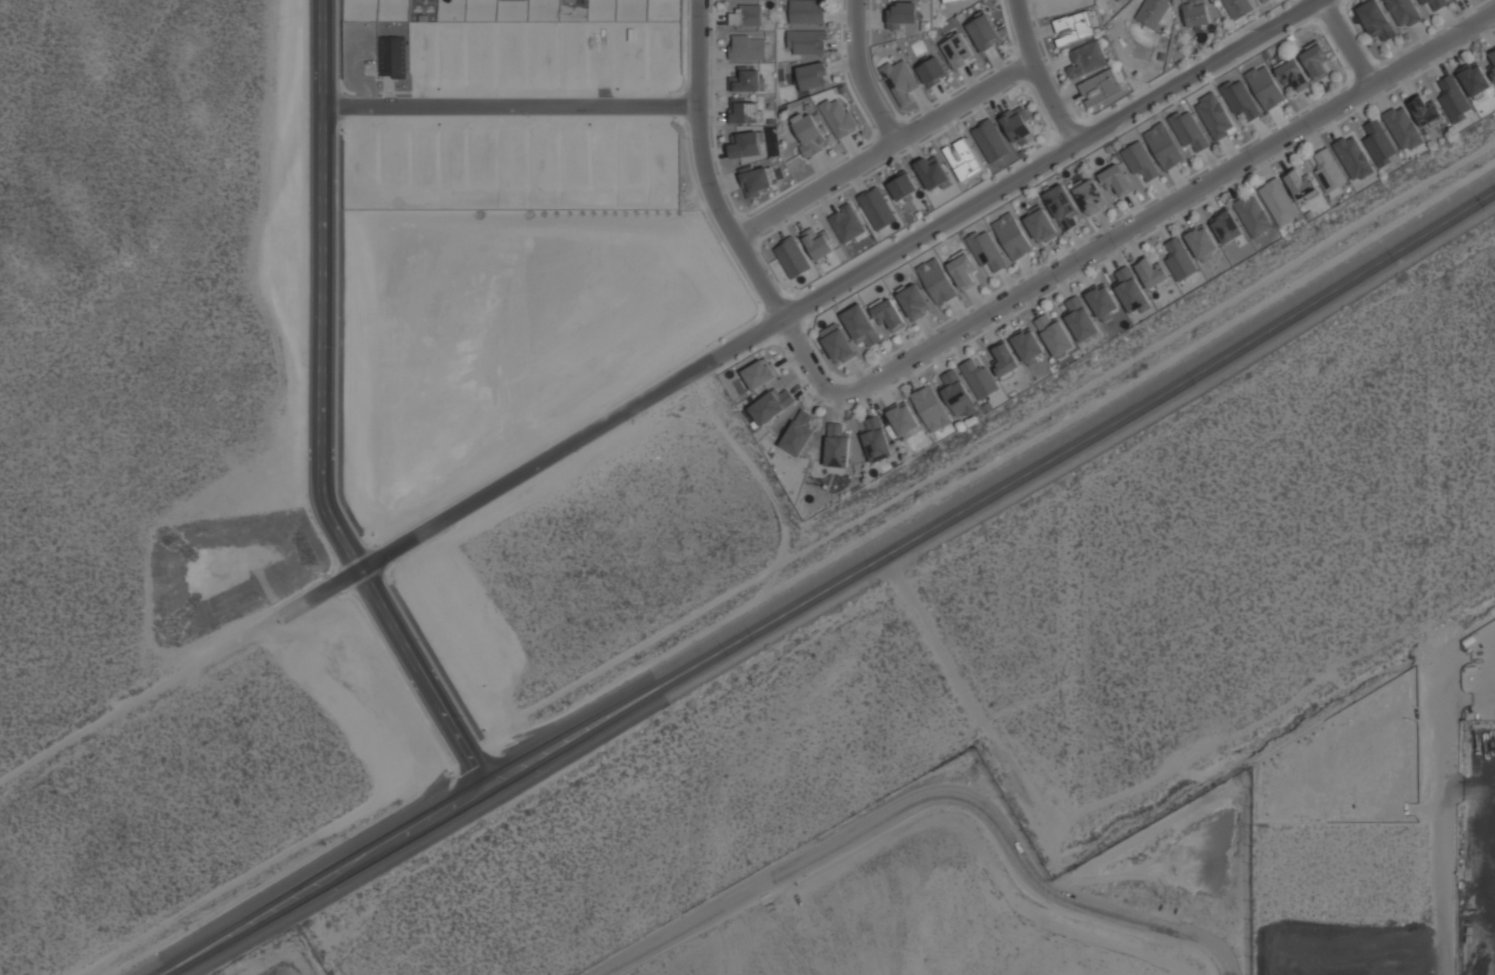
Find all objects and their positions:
building: (1452, 0)
building: (1455, 0)
building: (947, 1)
building: (1265, 1)
building: (1434, 4)
building: (1238, 8)
building: (807, 12)
building: (1153, 12)
building: (903, 13)
building: (1196, 13)
building: (1403, 13)
building: (747, 16)
building: (1376, 22)
building: (1074, 29)
building: (984, 32)
building: (806, 43)
road: (1350, 44)
building: (748, 48)
building: (958, 52)
building: (363, 57)
building: (543, 57)
building: (391, 58)
building: (511, 58)
building: (573, 58)
building: (630, 59)
building: (422, 60)
building: (1087, 60)
building: (480, 61)
building: (600, 61)
building: (662, 61)
building: (450, 62)
building: (1317, 63)
building: (1492, 67)
building: (931, 71)
road: (864, 75)
road: (1041, 75)
building: (1292, 75)
building: (812, 76)
building: (1474, 79)
building: (747, 81)
building: (901, 81)
building: (1266, 87)
building: (1100, 89)
building: (1240, 99)
building: (1454, 99)
road: (516, 111)
building: (1425, 111)
building: (746, 112)
building: (837, 117)
building: (1215, 117)
building: (1018, 125)
building: (1403, 128)
building: (1189, 132)
building: (810, 135)
building: (991, 141)
building: (1379, 144)
building: (745, 145)
road: (889, 147)
building: (1164, 147)
building: (573, 157)
building: (631, 157)
building: (1353, 157)
building: (423, 158)
building: (481, 158)
building: (512, 159)
building: (544, 159)
building: (602, 159)
building: (963, 159)
building: (663, 160)
building: (393, 161)
building: (451, 161)
building: (1140, 161)
building: (364, 162)
building: (1329, 171)
building: (932, 173)
building: (1116, 180)
building: (755, 182)
building: (1300, 184)
building: (902, 185)
building: (1091, 197)
building: (1279, 202)
building: (1062, 207)
building: (877, 208)
building: (1253, 215)
building: (848, 225)
building: (1226, 226)
building: (1041, 227)
building: (1013, 237)
building: (1200, 241)
building: (817, 242)
building: (987, 250)
building: (791, 257)
building: (1179, 260)
building: (963, 272)
building: (1151, 273)
road: (838, 280)
building: (937, 281)
road: (329, 288)
building: (1130, 291)
building: (1103, 301)
building: (914, 302)
building: (888, 314)
building: (1081, 318)
road: (985, 322)
building: (861, 326)
building: (1055, 335)
building: (838, 345)
building: (1028, 345)
building: (1005, 360)
building: (761, 373)
building: (979, 378)
building: (958, 394)
building: (771, 405)
building: (931, 408)
building: (904, 419)
building: (800, 432)
building: (877, 439)
building: (837, 446)
road: (830, 585)
road: (320, 589)
road: (410, 683)
road: (144, 694)
road: (968, 699)
road: (1438, 816)
landfill: (974, 891)
landfill: (302, 964)

